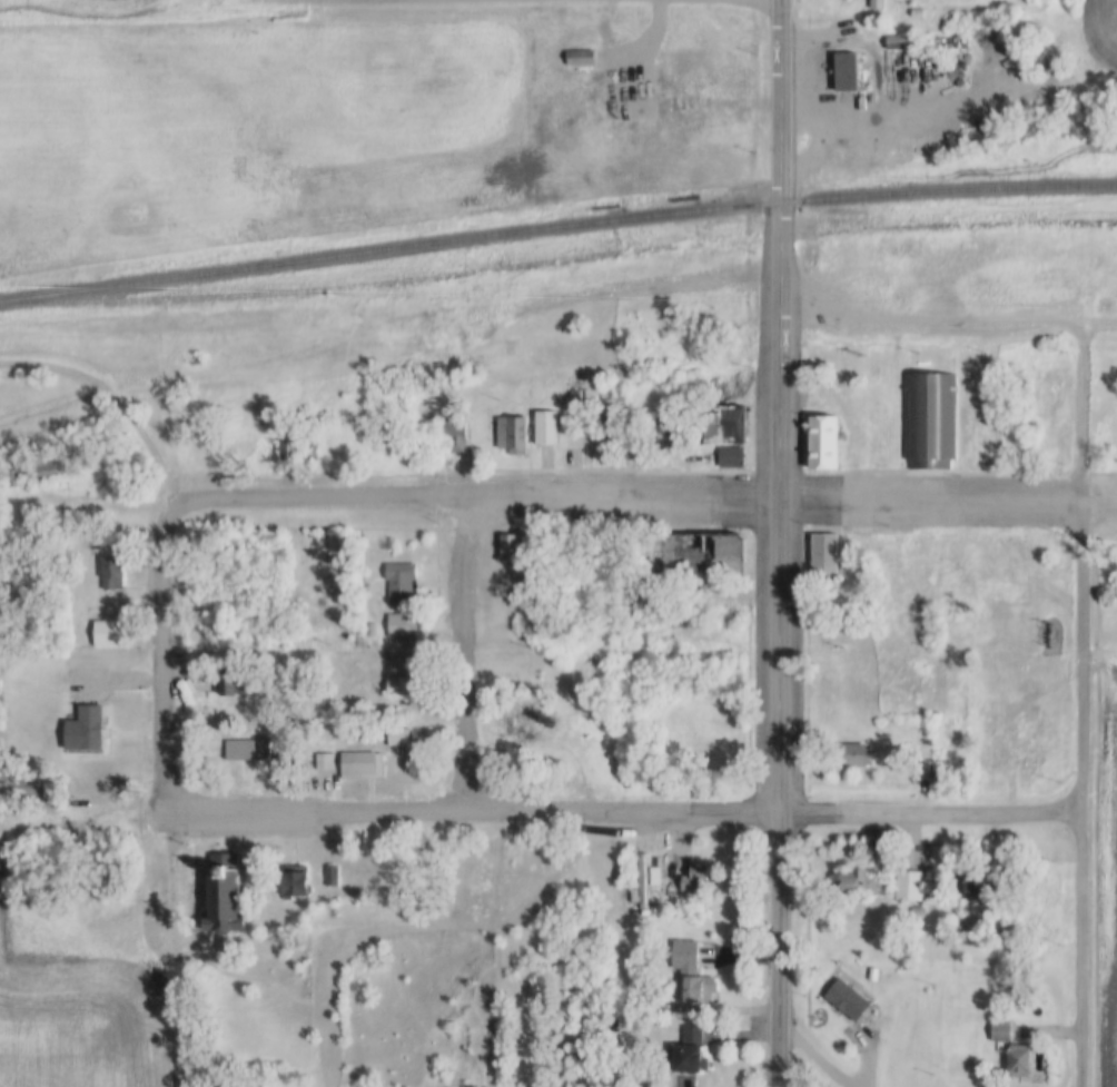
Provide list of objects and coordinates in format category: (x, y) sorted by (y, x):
building: (879, 4)
building: (939, 40)
building: (585, 65)
building: (691, 70)
building: (850, 72)
road: (699, 95)
road: (780, 101)
railway: (985, 224)
railway: (556, 228)
building: (861, 251)
railway: (363, 285)
road: (661, 289)
building: (484, 291)
road: (929, 324)
road: (1094, 324)
road: (775, 349)
building: (577, 375)
building: (575, 395)
road: (117, 397)
building: (929, 418)
building: (260, 419)
building: (726, 424)
building: (547, 427)
building: (511, 435)
building: (457, 436)
building: (829, 443)
building: (294, 446)
building: (313, 449)
building: (419, 453)
building: (732, 456)
building: (47, 471)
road: (783, 498)
road: (333, 500)
road: (1105, 501)
building: (705, 554)
building: (826, 554)
building: (115, 573)
building: (220, 573)
building: (329, 581)
building: (402, 583)
building: (405, 626)
building: (372, 630)
building: (115, 634)
road: (161, 638)
power substation: (1050, 638)
building: (347, 639)
road: (476, 655)
building: (211, 671)
building: (235, 683)
building: (405, 688)
road: (1091, 708)
building: (569, 720)
building: (517, 727)
building: (230, 745)
building: (857, 757)
park: (373, 765)
building: (917, 774)
road: (785, 792)
road: (627, 812)
building: (329, 878)
building: (695, 881)
building: (864, 882)
building: (910, 886)
building: (967, 886)
building: (299, 887)
building: (225, 897)
building: (916, 911)
building: (690, 972)
building: (1004, 1032)
building: (694, 1051)
road: (820, 1055)
building: (1024, 1064)

